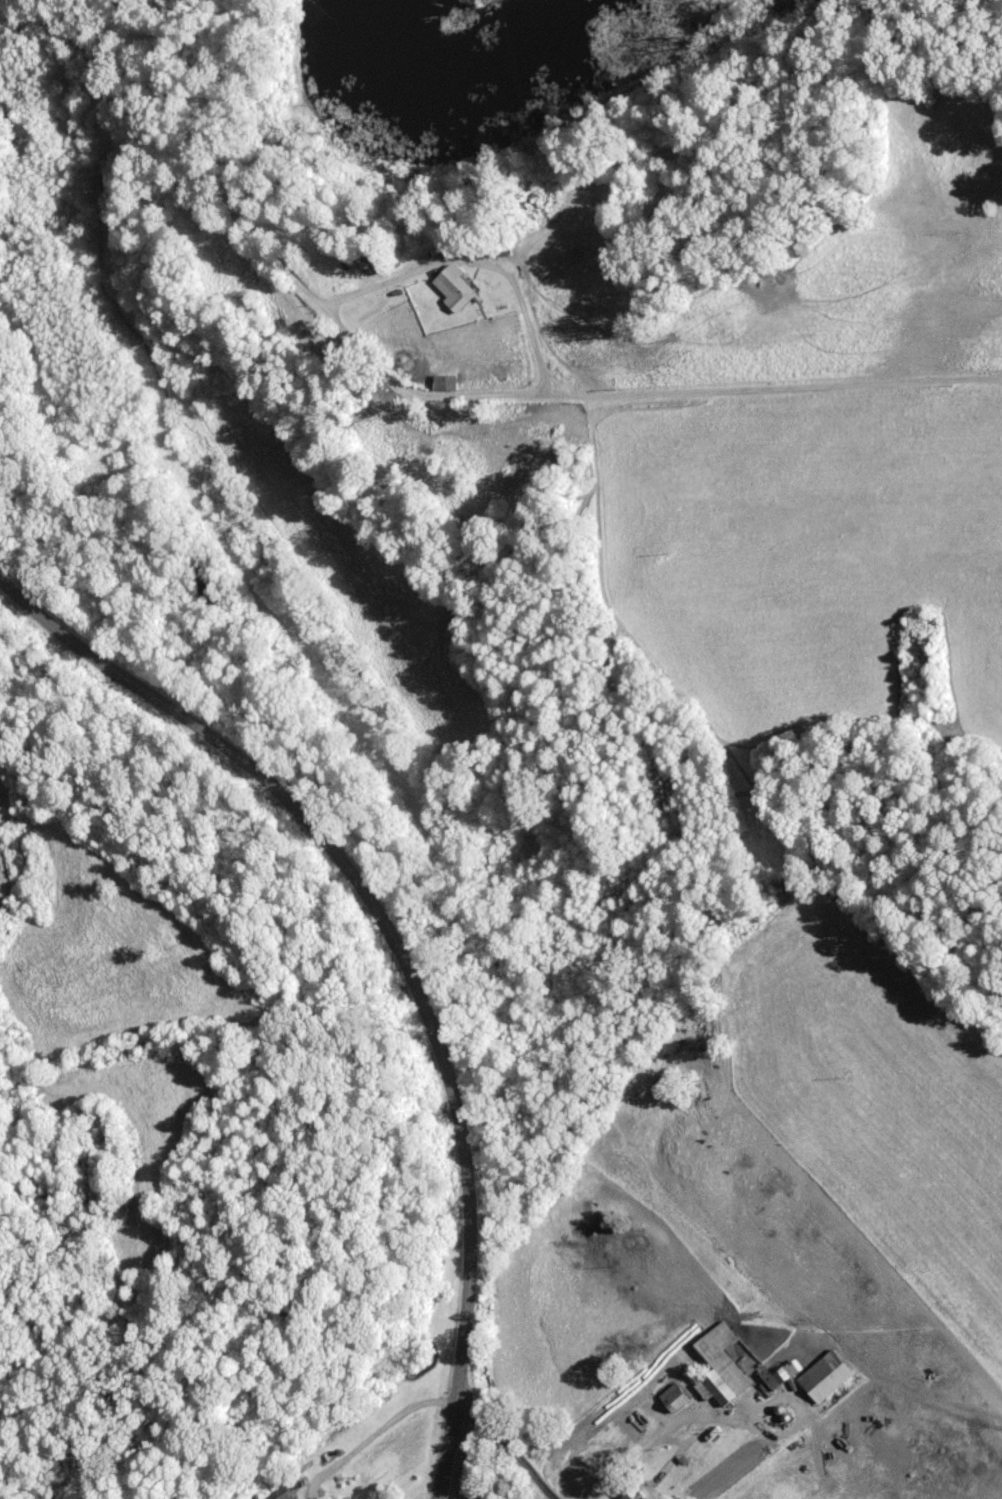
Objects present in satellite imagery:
building: (449, 287)
road: (431, 392)
road: (398, 953)
building: (714, 1365)
building: (818, 1376)
building: (667, 1398)
road: (511, 1446)
building: (631, 1492)
building: (472, 1494)

